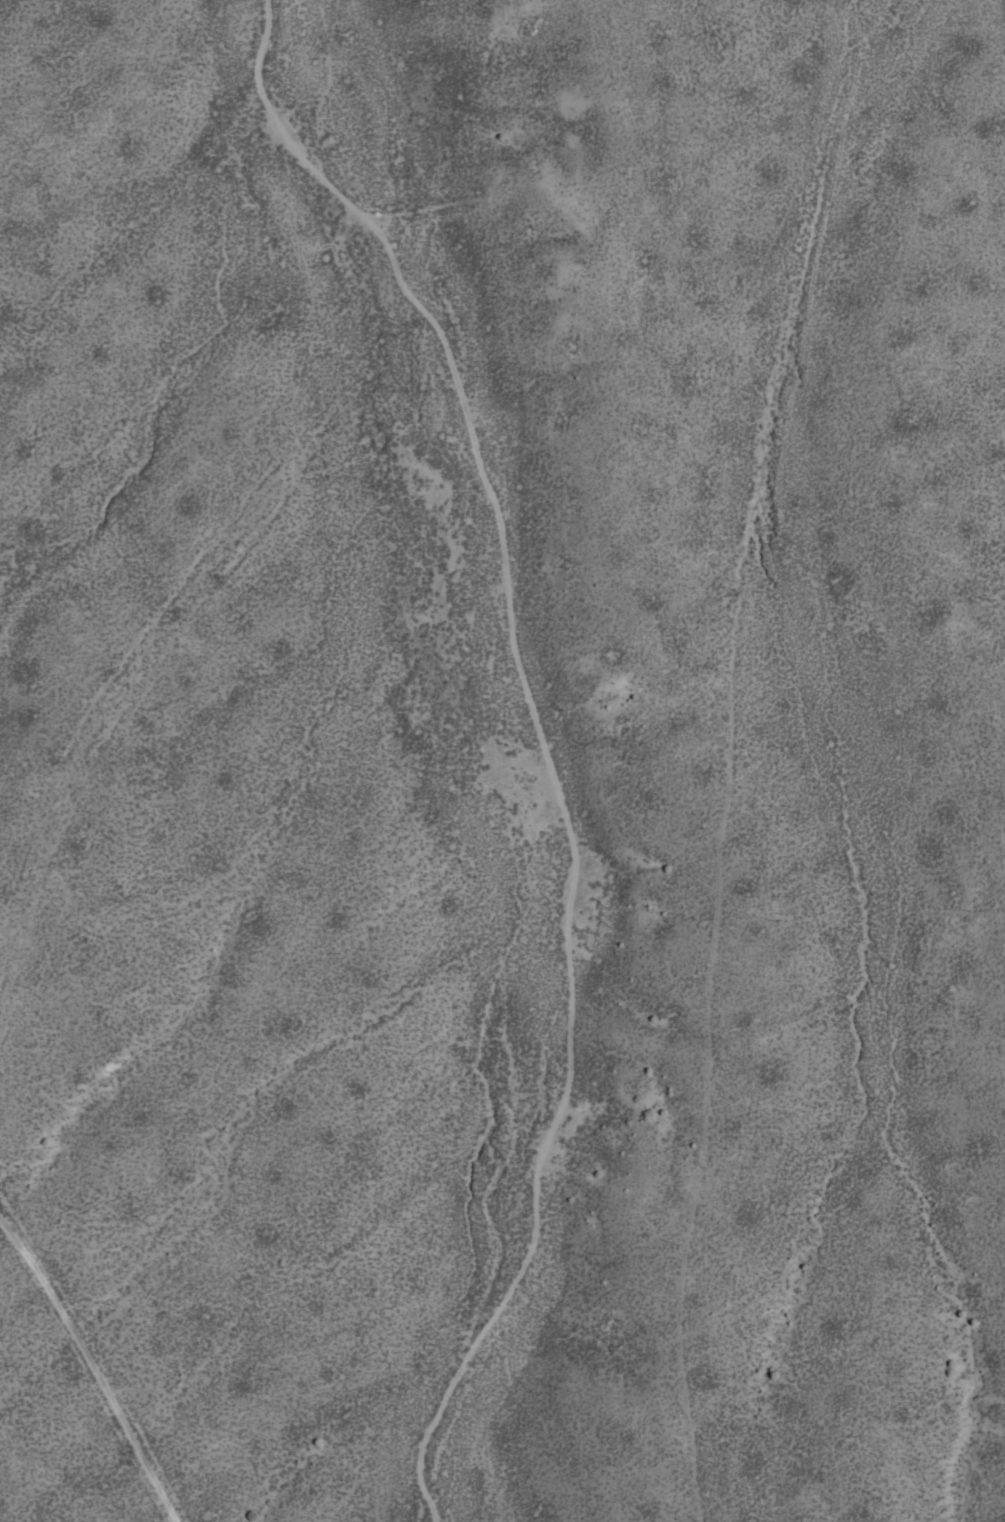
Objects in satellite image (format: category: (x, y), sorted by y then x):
road: (89, 1366)

